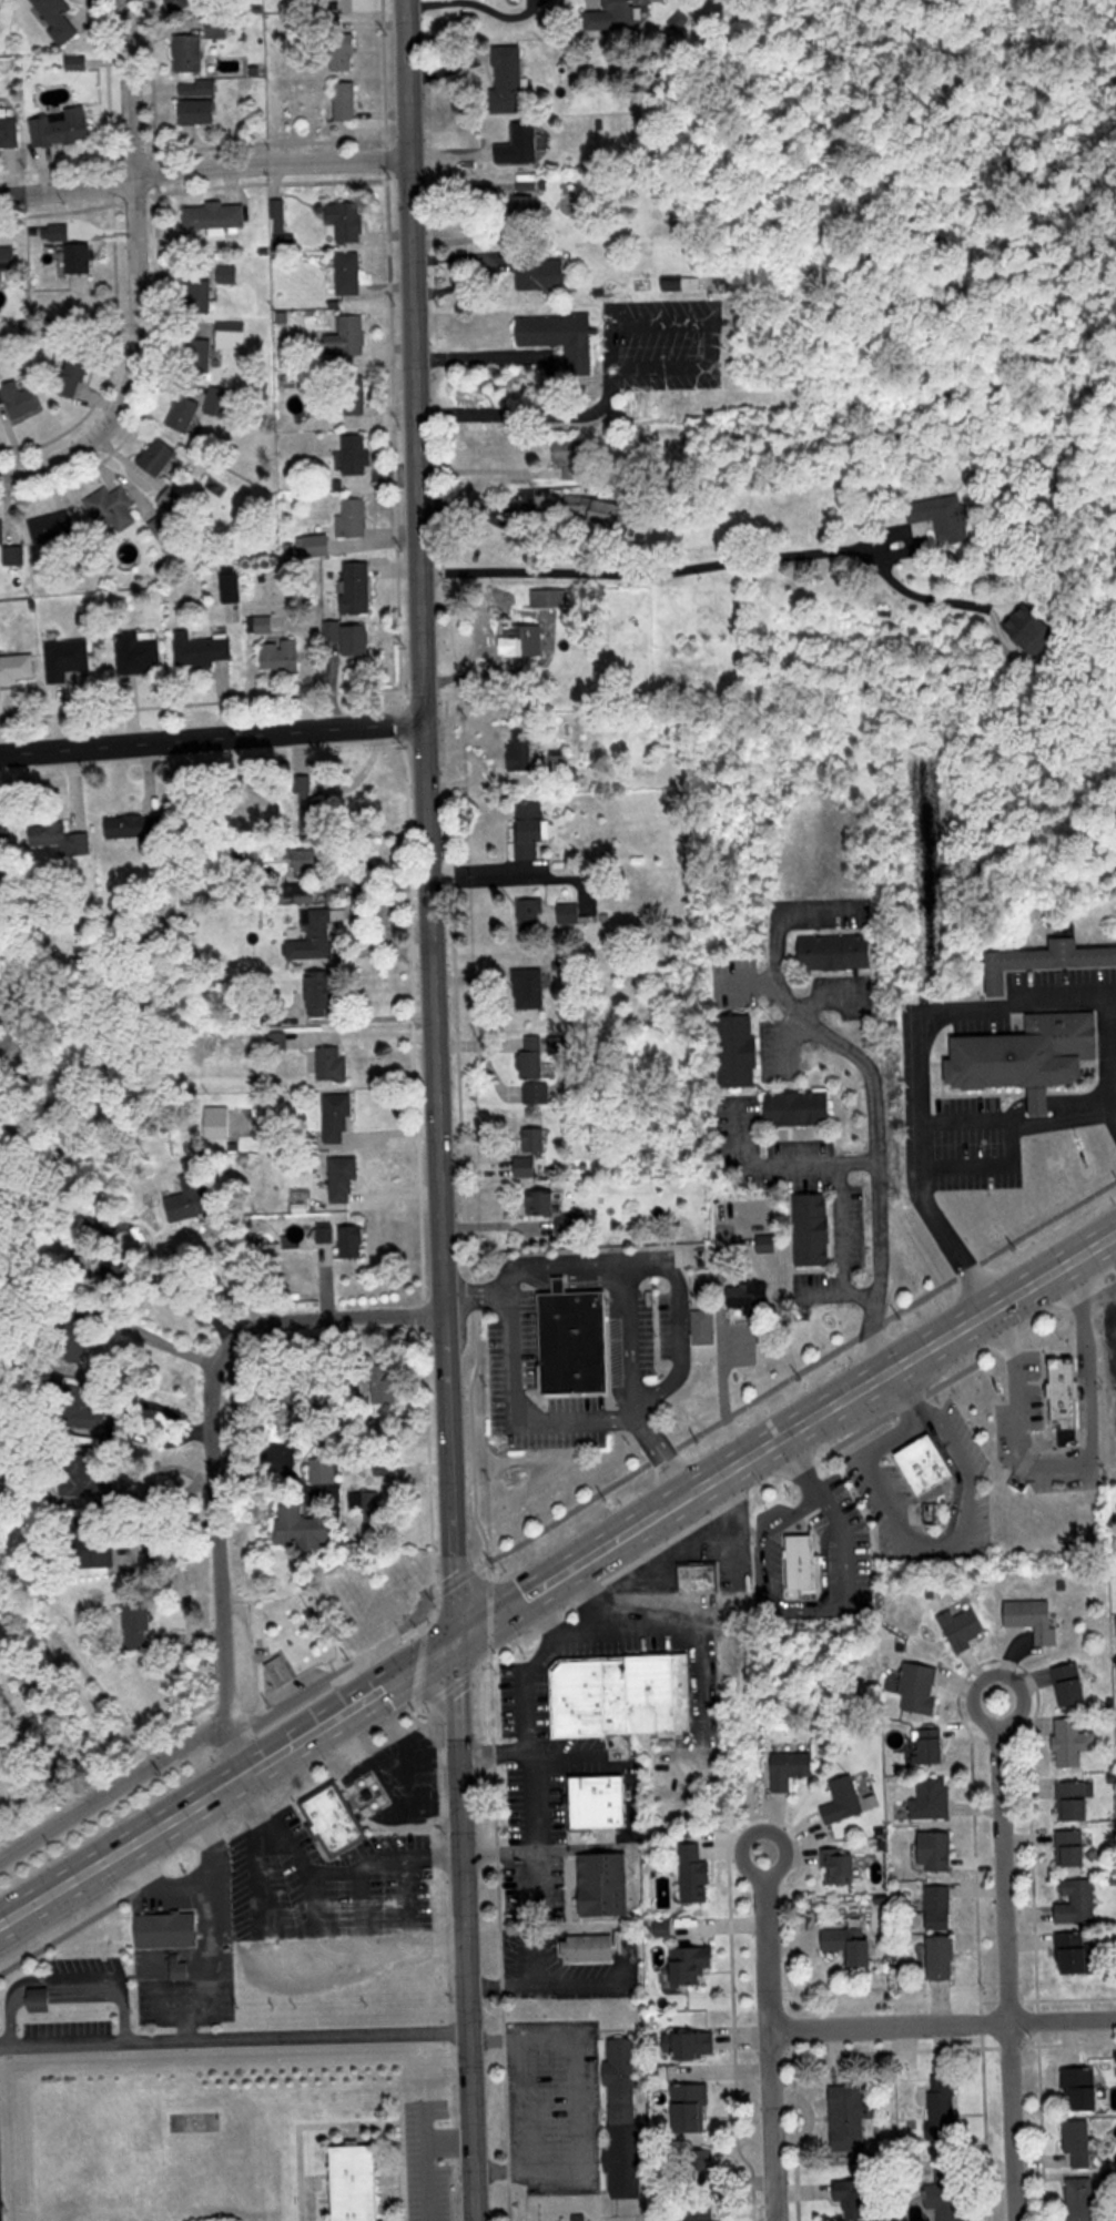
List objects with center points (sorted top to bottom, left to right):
road: (478, 4)
building: (177, 6)
building: (619, 14)
building: (59, 18)
building: (343, 44)
building: (190, 52)
building: (510, 79)
building: (199, 101)
building: (347, 101)
building: (62, 128)
building: (10, 131)
building: (520, 145)
road: (204, 170)
building: (534, 211)
building: (216, 216)
building: (348, 221)
road: (129, 255)
building: (9, 258)
building: (80, 258)
building: (540, 271)
building: (349, 273)
building: (229, 274)
building: (200, 296)
building: (744, 321)
building: (232, 335)
building: (348, 336)
building: (557, 343)
building: (201, 354)
road: (509, 358)
road: (647, 369)
building: (71, 378)
building: (21, 400)
building: (185, 414)
building: (358, 455)
building: (159, 457)
building: (574, 458)
road: (14, 469)
road: (485, 470)
building: (214, 487)
building: (113, 510)
building: (613, 515)
building: (944, 517)
building: (354, 518)
building: (54, 528)
building: (164, 533)
building: (8, 540)
building: (316, 546)
road: (708, 568)
building: (232, 585)
building: (357, 588)
building: (550, 598)
building: (264, 625)
building: (1032, 629)
building: (333, 631)
building: (528, 640)
building: (358, 645)
building: (140, 650)
building: (203, 650)
building: (281, 655)
building: (68, 659)
building: (18, 668)
road: (212, 736)
building: (523, 749)
building: (312, 808)
building: (133, 824)
building: (531, 829)
building: (61, 838)
road: (487, 875)
building: (569, 913)
building: (531, 914)
building: (313, 934)
building: (839, 951)
building: (1037, 963)
building: (325, 992)
building: (532, 993)
road: (917, 1014)
building: (740, 1049)
building: (1023, 1056)
building: (531, 1058)
building: (333, 1064)
road: (873, 1083)
building: (536, 1093)
building: (801, 1107)
road: (438, 1110)
building: (339, 1120)
road: (1061, 1122)
building: (240, 1123)
road: (1008, 1145)
building: (532, 1150)
road: (781, 1159)
building: (345, 1179)
building: (195, 1207)
building: (565, 1216)
road: (843, 1224)
building: (814, 1229)
building: (353, 1240)
building: (768, 1244)
road: (240, 1268)
road: (625, 1275)
road: (334, 1315)
road: (678, 1316)
building: (700, 1327)
road: (153, 1339)
building: (569, 1341)
building: (1064, 1398)
road: (527, 1417)
road: (1076, 1460)
building: (921, 1462)
building: (324, 1470)
building: (77, 1482)
road: (833, 1508)
building: (306, 1527)
road: (951, 1535)
road: (216, 1552)
building: (115, 1555)
building: (800, 1562)
road: (555, 1570)
building: (696, 1576)
building: (140, 1616)
building: (1035, 1617)
building: (965, 1627)
road: (575, 1630)
traffic signals: (457, 1637)
building: (281, 1673)
building: (1072, 1685)
building: (921, 1687)
building: (39, 1694)
building: (617, 1695)
building: (1074, 1742)
building: (933, 1746)
building: (4, 1754)
road: (493, 1754)
building: (793, 1768)
road: (525, 1772)
road: (115, 1784)
building: (846, 1799)
building: (934, 1799)
building: (1077, 1801)
building: (593, 1802)
building: (388, 1814)
building: (329, 1821)
road: (764, 1828)
building: (1072, 1848)
building: (939, 1850)
road: (496, 1858)
building: (855, 1868)
road: (354, 1874)
road: (404, 1875)
building: (698, 1875)
road: (304, 1883)
road: (155, 1886)
building: (599, 1886)
building: (1077, 1901)
building: (942, 1907)
road: (207, 1930)
building: (162, 1931)
building: (860, 1938)
road: (998, 1944)
building: (588, 1949)
road: (769, 1950)
building: (1081, 1955)
building: (945, 1958)
road: (268, 1961)
building: (693, 1964)
road: (155, 1974)
road: (542, 1986)
road: (62, 1987)
road: (943, 2022)
road: (235, 2040)
building: (692, 2046)
building: (1084, 2087)
road: (526, 2103)
building: (942, 2106)
building: (689, 2107)
building: (851, 2116)
road: (773, 2124)
building: (623, 2127)
building: (1081, 2143)
road: (429, 2162)
building: (702, 2170)
building: (356, 2182)
building: (1086, 2193)
building: (855, 2198)
building: (950, 2200)
building: (703, 2214)

